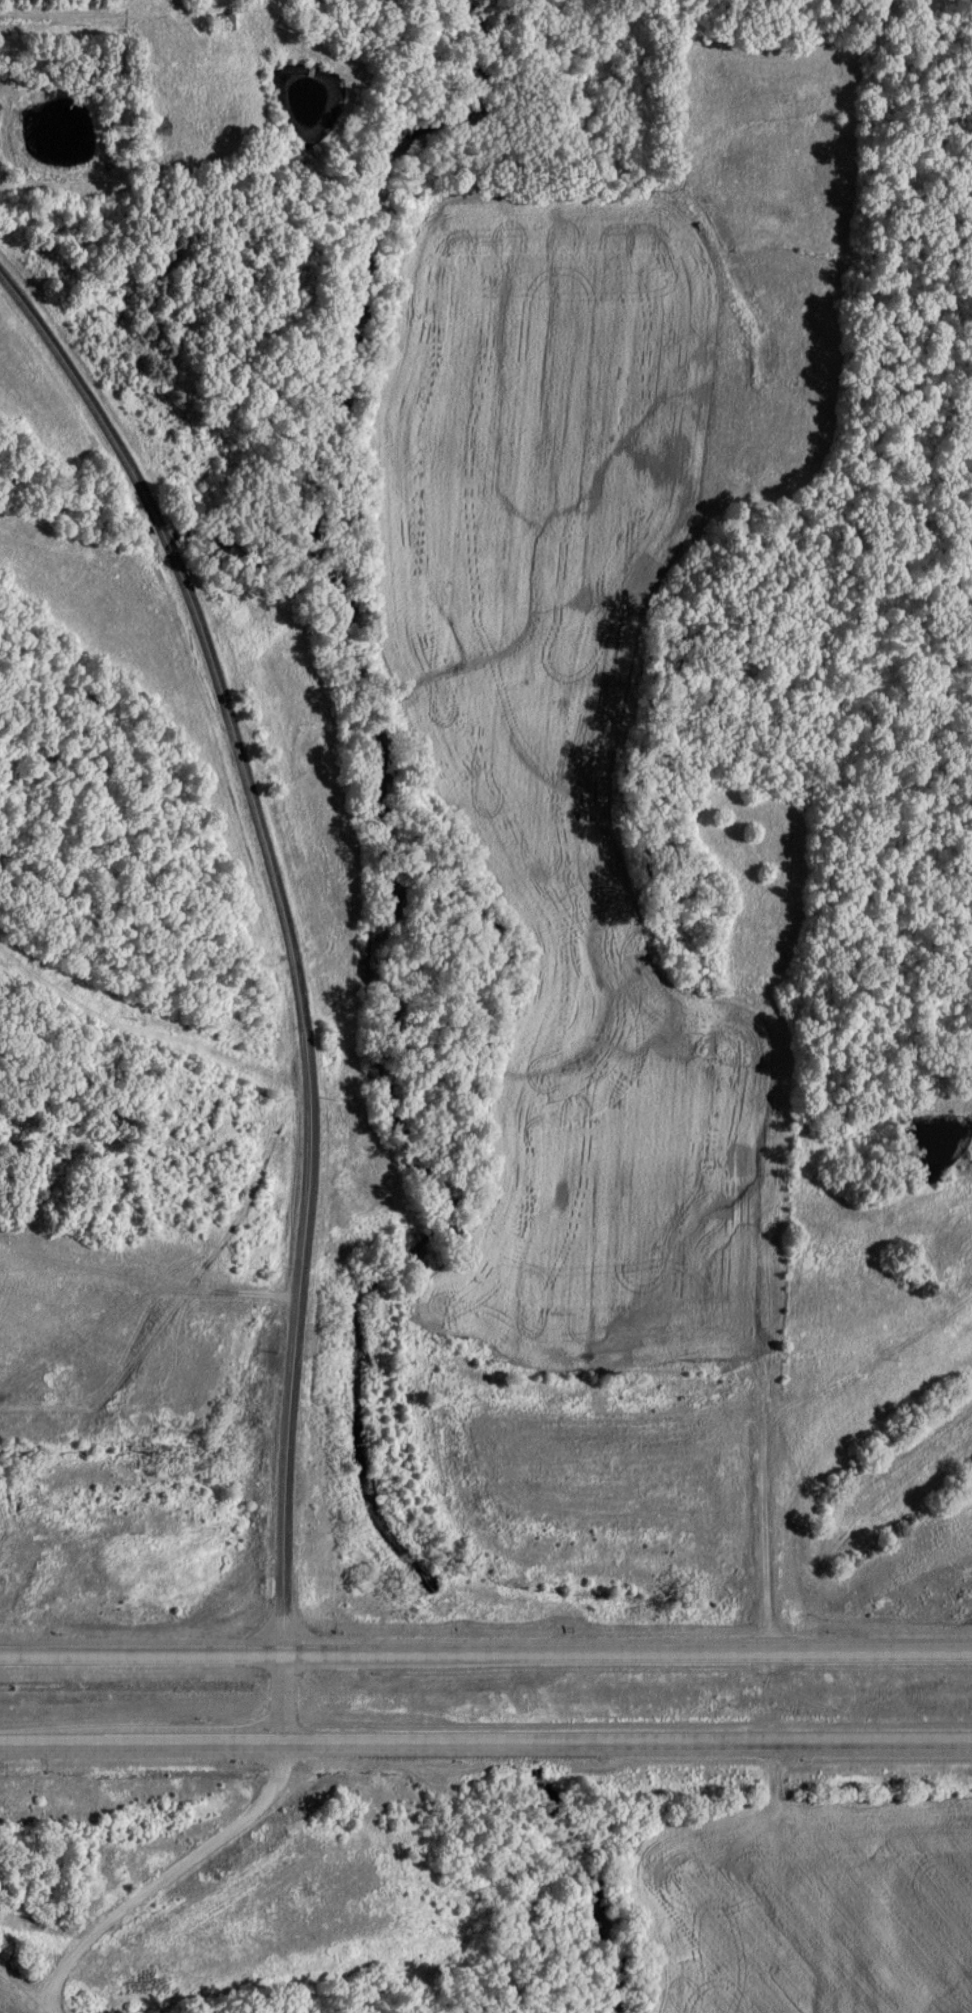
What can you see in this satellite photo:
building: (233, 22)
road: (89, 52)
road: (299, 973)
road: (486, 1655)
road: (486, 1743)
road: (168, 1876)
road: (23, 1993)

